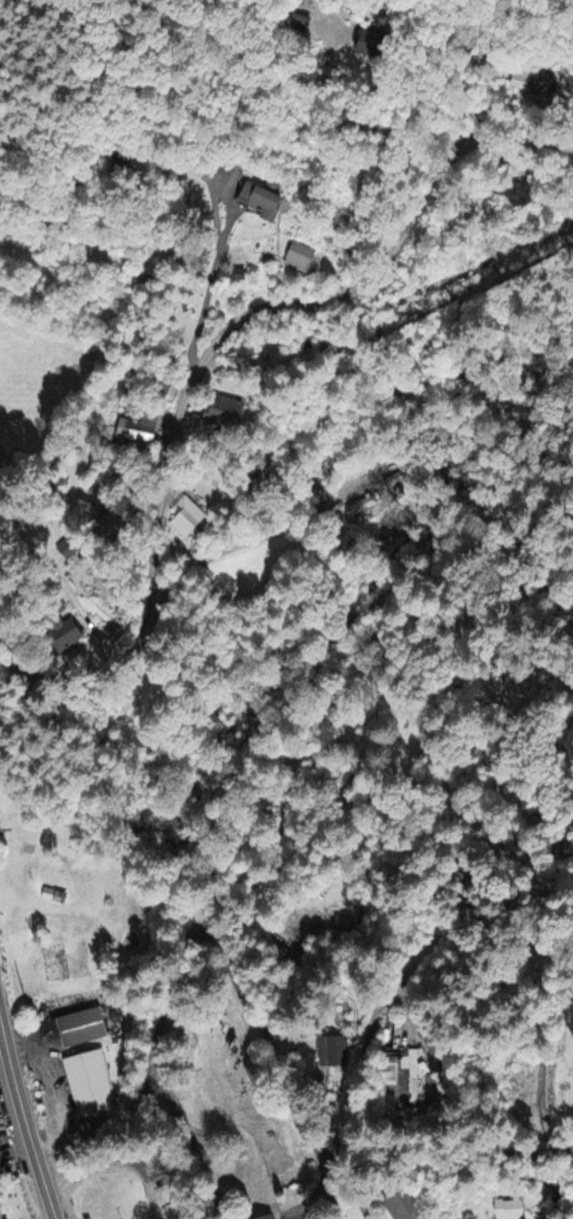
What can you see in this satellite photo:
building: (371, 47)
building: (534, 86)
building: (261, 204)
building: (300, 261)
road: (208, 289)
road: (209, 353)
building: (225, 413)
building: (138, 434)
building: (360, 512)
building: (187, 521)
building: (117, 527)
building: (68, 552)
building: (66, 639)
road: (216, 941)
road: (417, 1021)
building: (83, 1031)
building: (332, 1055)
road: (540, 1056)
building: (91, 1086)
road: (27, 1119)
road: (116, 1162)
building: (403, 1207)
building: (509, 1211)
building: (0, 1214)
building: (271, 1218)

